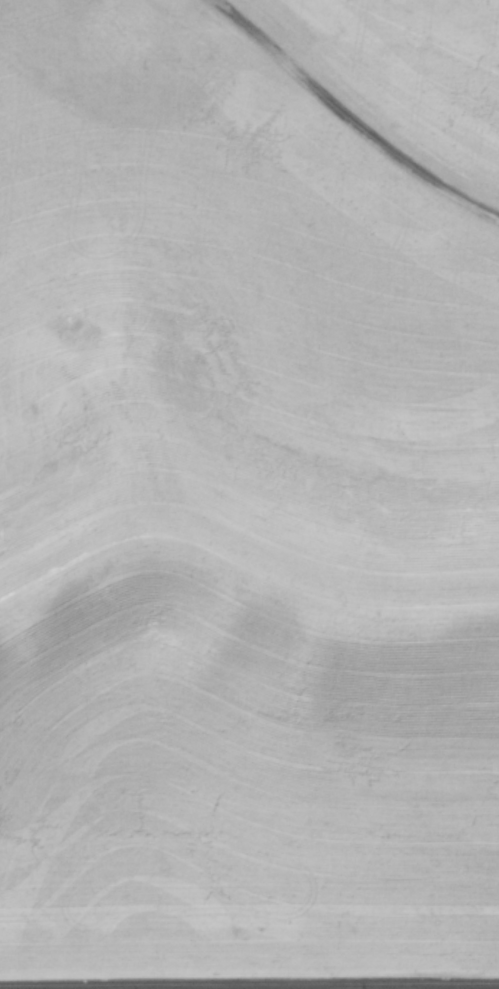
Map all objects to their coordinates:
road: (351, 117)
road: (249, 974)

